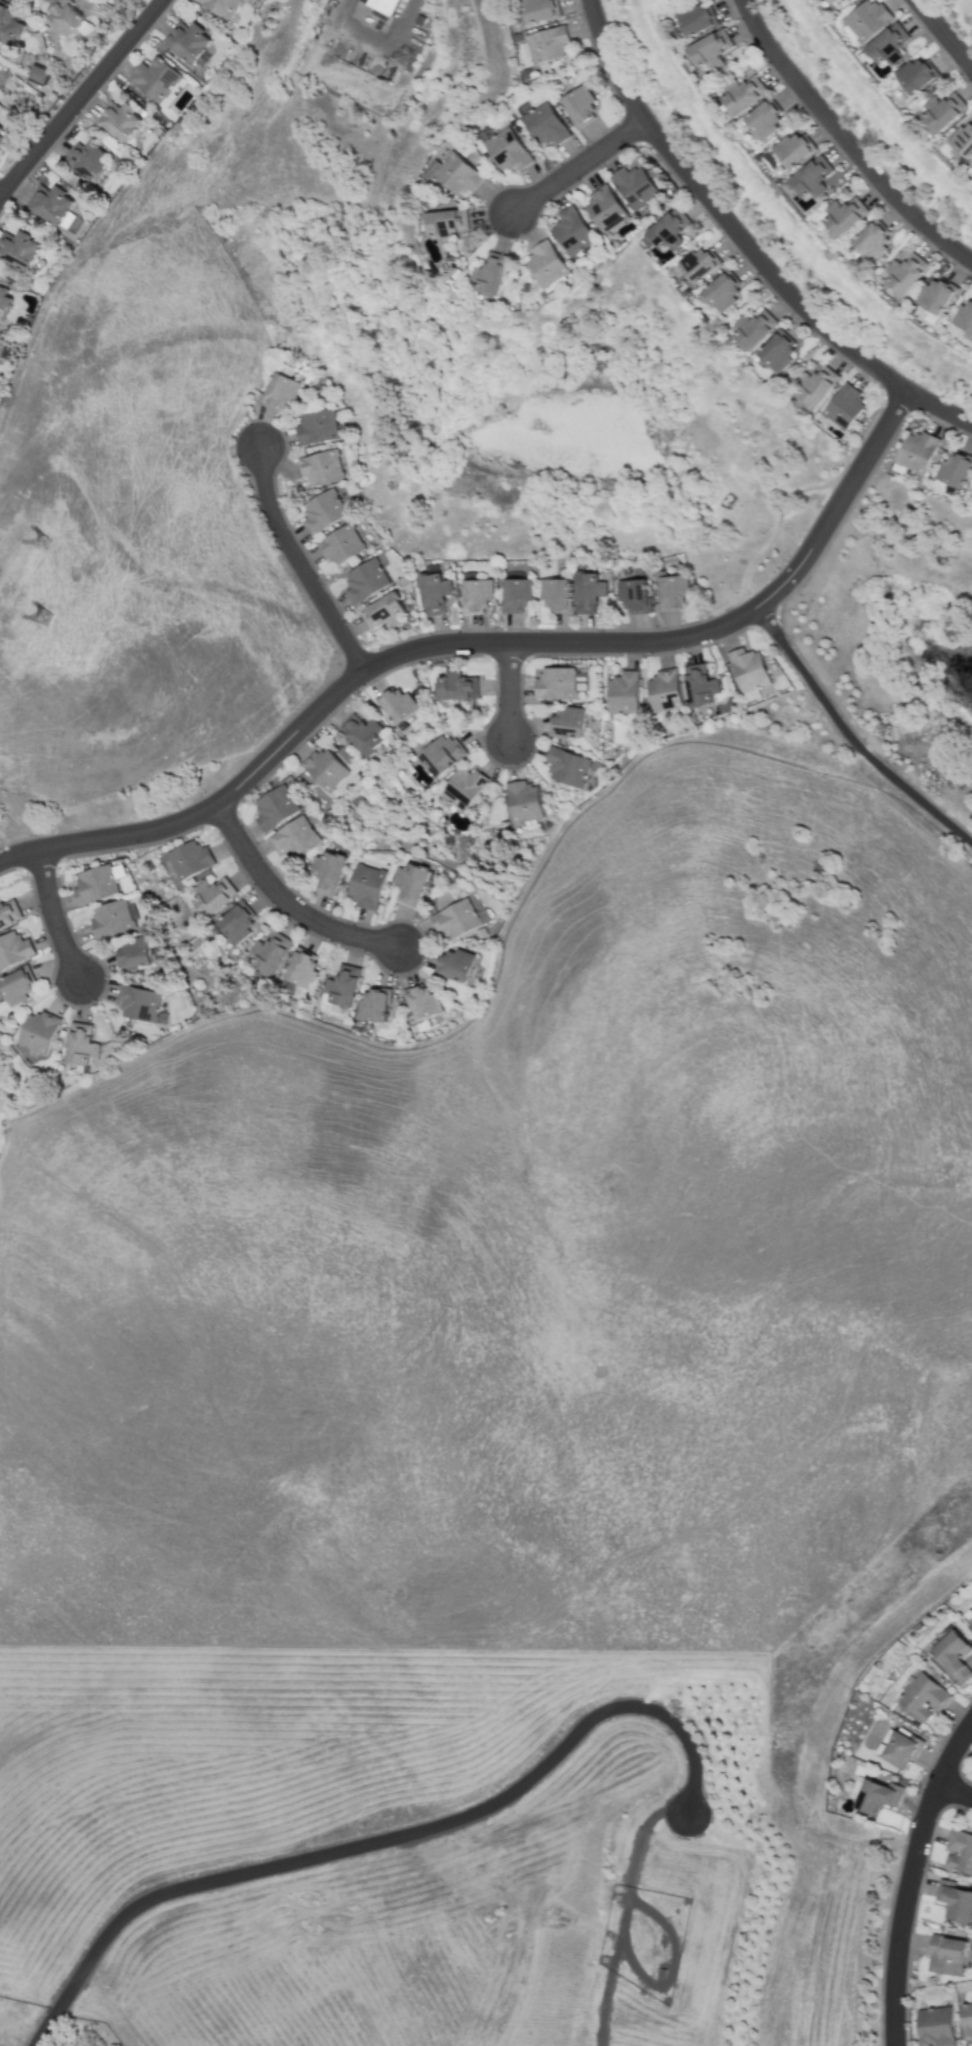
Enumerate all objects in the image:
building: (830, 1)
building: (385, 4)
building: (223, 6)
building: (539, 9)
building: (64, 18)
building: (696, 18)
building: (865, 19)
building: (8, 25)
road: (942, 34)
building: (188, 40)
road: (375, 43)
building: (548, 44)
building: (887, 44)
building: (710, 50)
building: (915, 75)
building: (35, 76)
building: (156, 78)
building: (741, 94)
road: (78, 95)
building: (578, 105)
building: (943, 111)
building: (763, 118)
building: (122, 122)
building: (544, 124)
building: (2, 132)
building: (963, 139)
road: (844, 141)
building: (506, 149)
building: (794, 149)
building: (87, 160)
road: (575, 165)
building: (454, 173)
building: (811, 177)
building: (634, 186)
building: (54, 206)
building: (603, 208)
building: (844, 215)
building: (446, 223)
building: (669, 229)
building: (571, 231)
building: (871, 240)
road: (744, 243)
building: (19, 249)
building: (545, 263)
building: (698, 265)
building: (904, 272)
building: (490, 273)
building: (722, 291)
building: (936, 295)
building: (4, 302)
building: (965, 314)
building: (752, 328)
building: (777, 351)
building: (815, 384)
building: (279, 390)
building: (844, 407)
building: (317, 426)
road: (875, 437)
building: (916, 451)
building: (321, 467)
building: (954, 469)
building: (322, 510)
road: (777, 525)
power tower: (46, 536)
building: (340, 544)
road: (806, 550)
road: (296, 561)
building: (364, 580)
building: (672, 591)
building: (433, 592)
building: (588, 592)
building: (555, 593)
building: (476, 594)
building: (516, 594)
building: (634, 594)
power tower: (44, 611)
building: (382, 611)
road: (559, 641)
building: (748, 669)
building: (558, 683)
building: (455, 685)
building: (699, 685)
road: (507, 690)
building: (622, 692)
building: (664, 693)
building: (397, 704)
building: (567, 722)
building: (361, 733)
road: (849, 737)
building: (438, 754)
building: (566, 766)
building: (324, 768)
building: (461, 788)
building: (522, 800)
road: (203, 807)
building: (276, 807)
building: (294, 836)
building: (189, 859)
building: (328, 871)
building: (410, 883)
building: (95, 884)
building: (367, 886)
building: (212, 895)
road: (286, 902)
building: (8, 912)
road: (51, 914)
building: (111, 918)
building: (455, 918)
building: (236, 922)
building: (13, 949)
building: (268, 952)
building: (133, 953)
building: (454, 964)
building: (300, 968)
building: (342, 985)
building: (16, 987)
building: (137, 1002)
building: (421, 1002)
building: (372, 1005)
building: (37, 1031)
building: (80, 1044)
building: (969, 1622)
building: (951, 1654)
building: (921, 1696)
road: (953, 1790)
building: (875, 1795)
road: (383, 1844)
building: (959, 1850)
road: (909, 1875)
building: (954, 1901)
building: (943, 1951)
building: (955, 1967)
building: (965, 2020)
building: (934, 2026)

